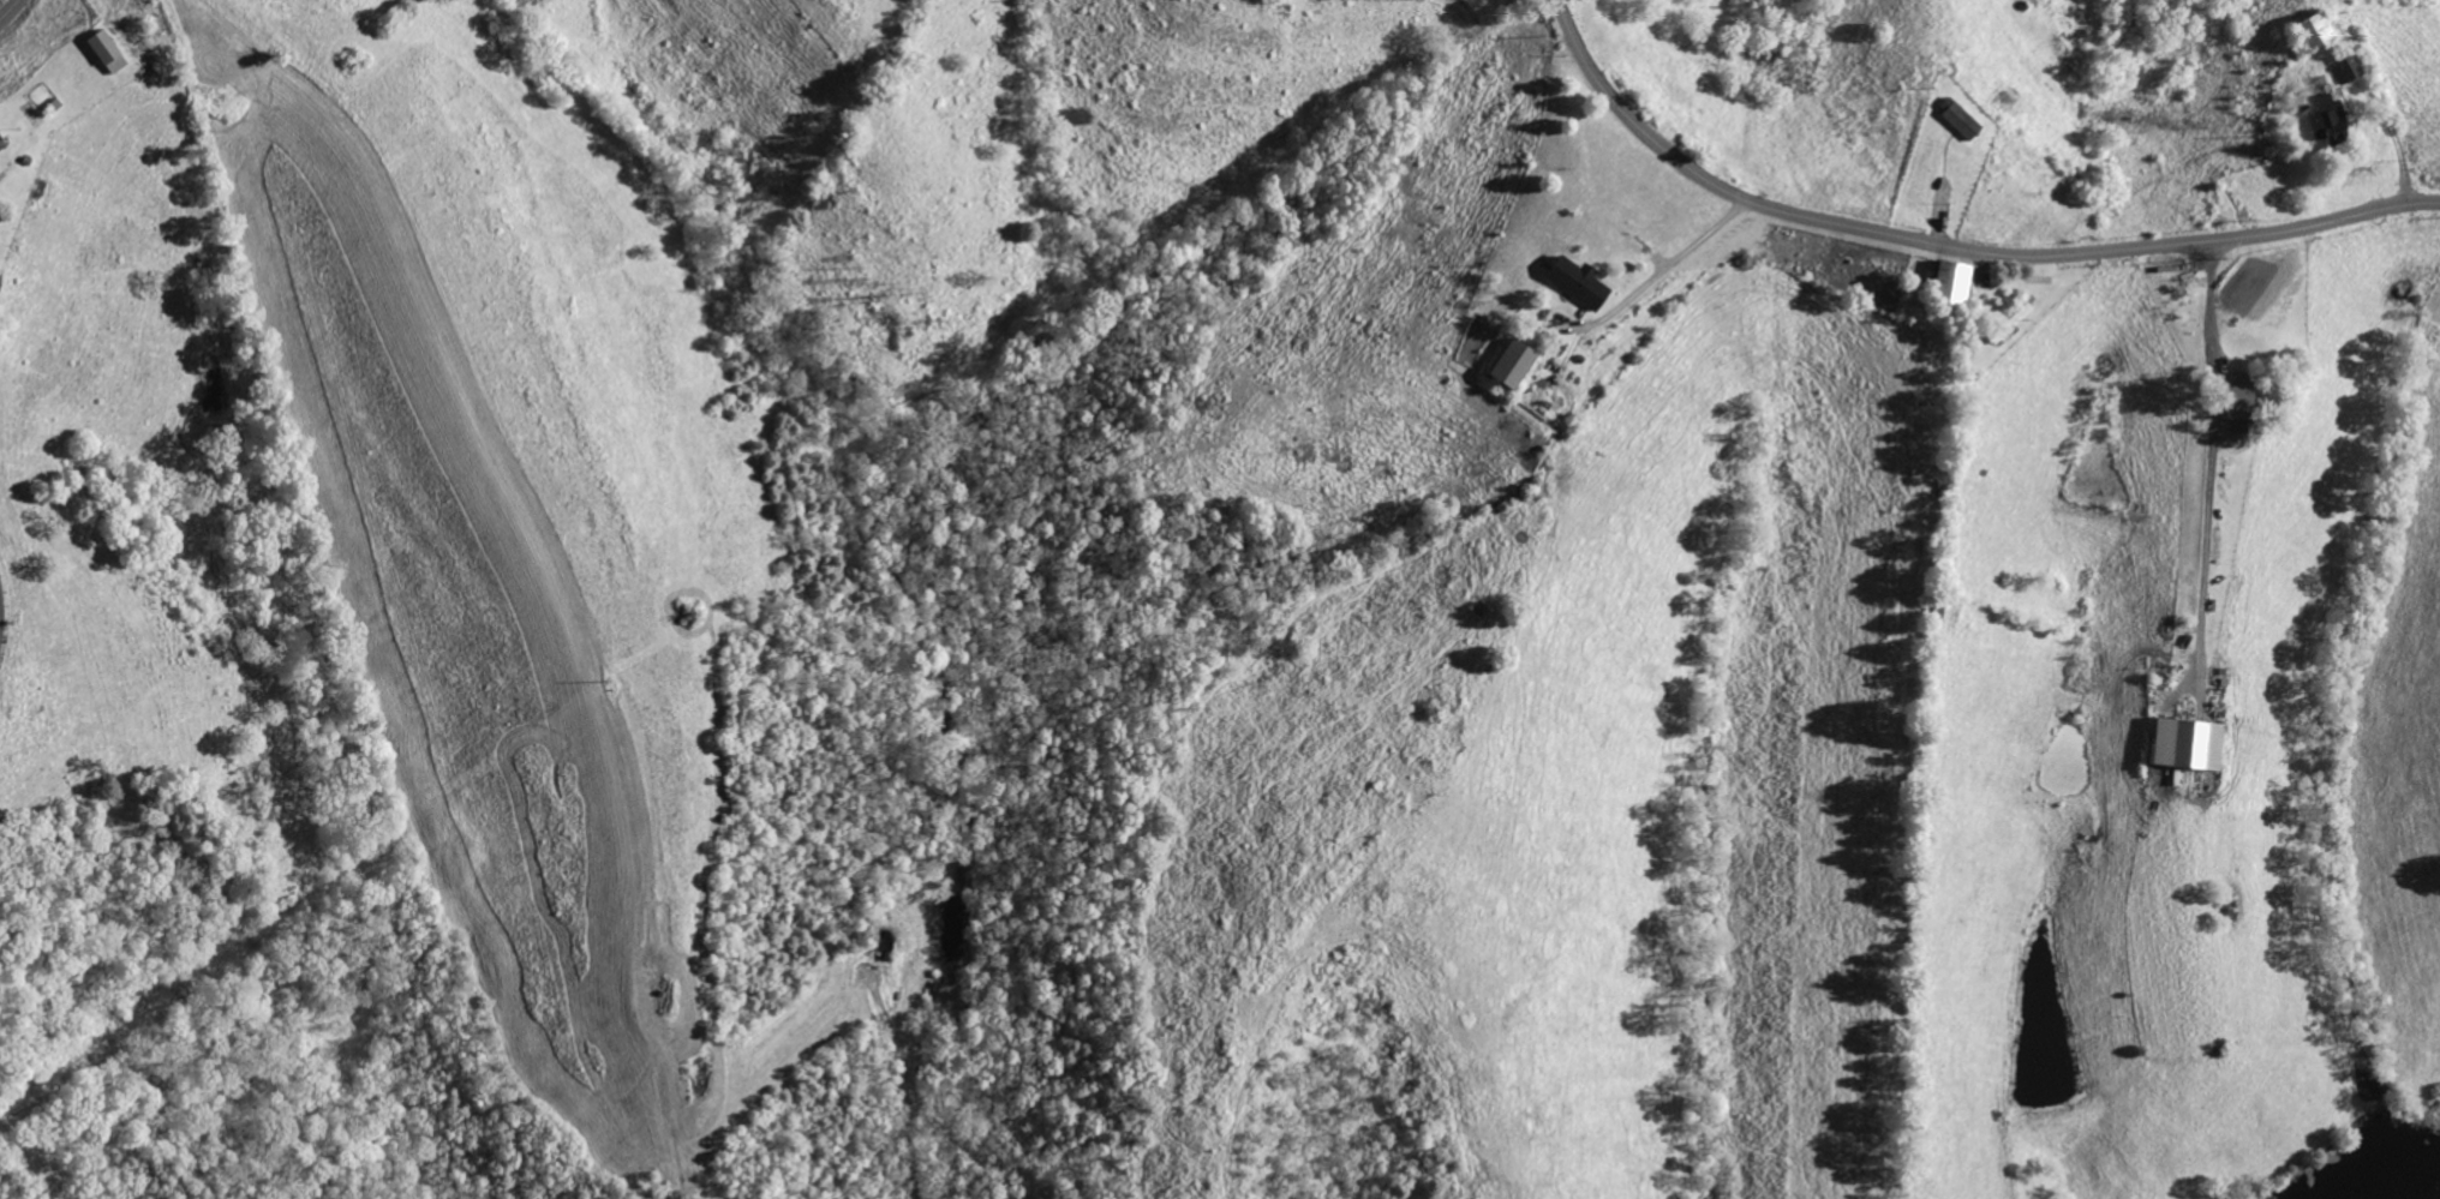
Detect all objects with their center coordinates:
road: (10, 10)
building: (2320, 29)
building: (109, 50)
building: (1962, 118)
building: (2331, 119)
road: (1949, 248)
road: (1680, 254)
building: (1957, 280)
building: (1580, 282)
road: (2207, 302)
building: (1518, 362)
building: (2243, 395)
building: (2191, 743)

